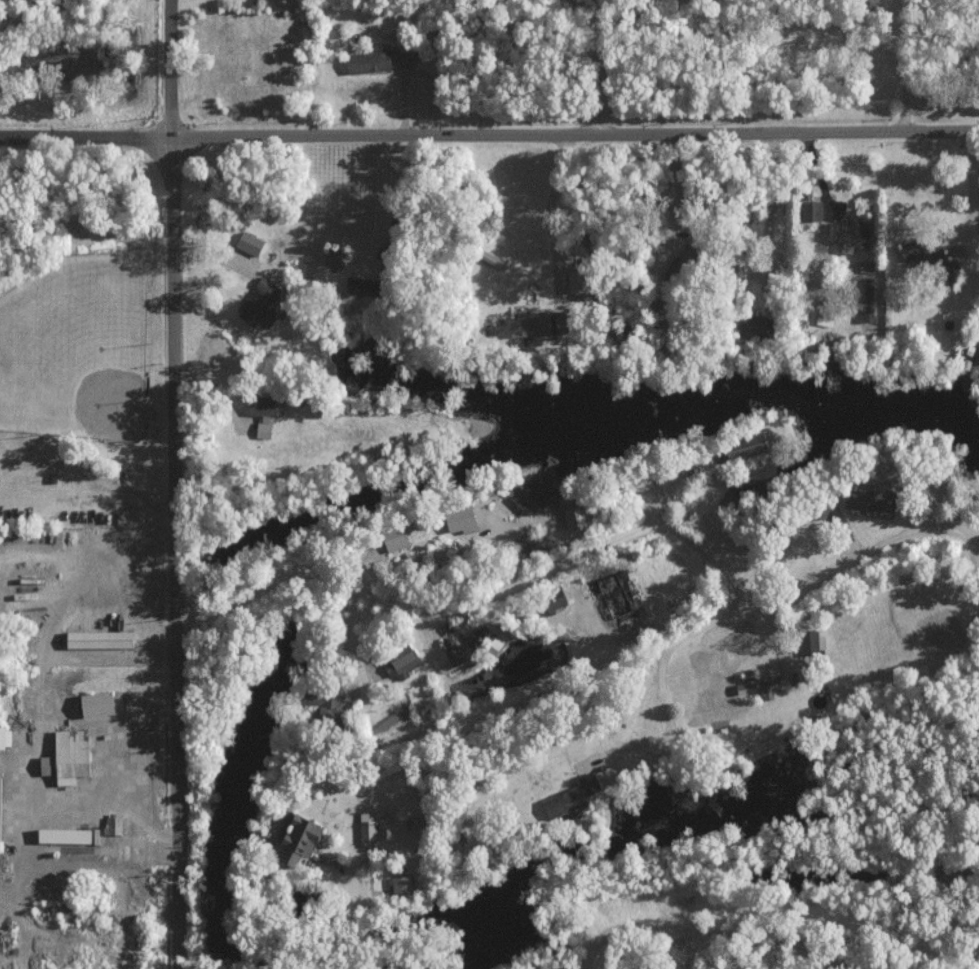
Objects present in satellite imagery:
building: (364, 60)
road: (602, 66)
road: (489, 132)
road: (975, 194)
road: (382, 202)
building: (809, 210)
road: (551, 214)
building: (846, 231)
building: (247, 242)
building: (904, 250)
building: (329, 256)
building: (939, 267)
building: (867, 299)
building: (253, 310)
building: (526, 324)
building: (745, 326)
park: (79, 347)
road: (582, 400)
building: (261, 406)
building: (262, 431)
building: (741, 446)
road: (95, 478)
road: (183, 484)
building: (524, 496)
building: (861, 501)
building: (821, 506)
building: (570, 516)
building: (456, 519)
building: (392, 538)
road: (579, 554)
building: (611, 596)
building: (551, 600)
building: (94, 639)
building: (806, 641)
building: (485, 644)
building: (450, 655)
building: (397, 660)
road: (658, 678)
building: (756, 687)
building: (91, 704)
building: (317, 704)
building: (3, 738)
building: (63, 757)
building: (568, 796)
building: (110, 826)
building: (370, 832)
building: (62, 836)
building: (294, 840)
building: (401, 886)
road: (706, 936)

